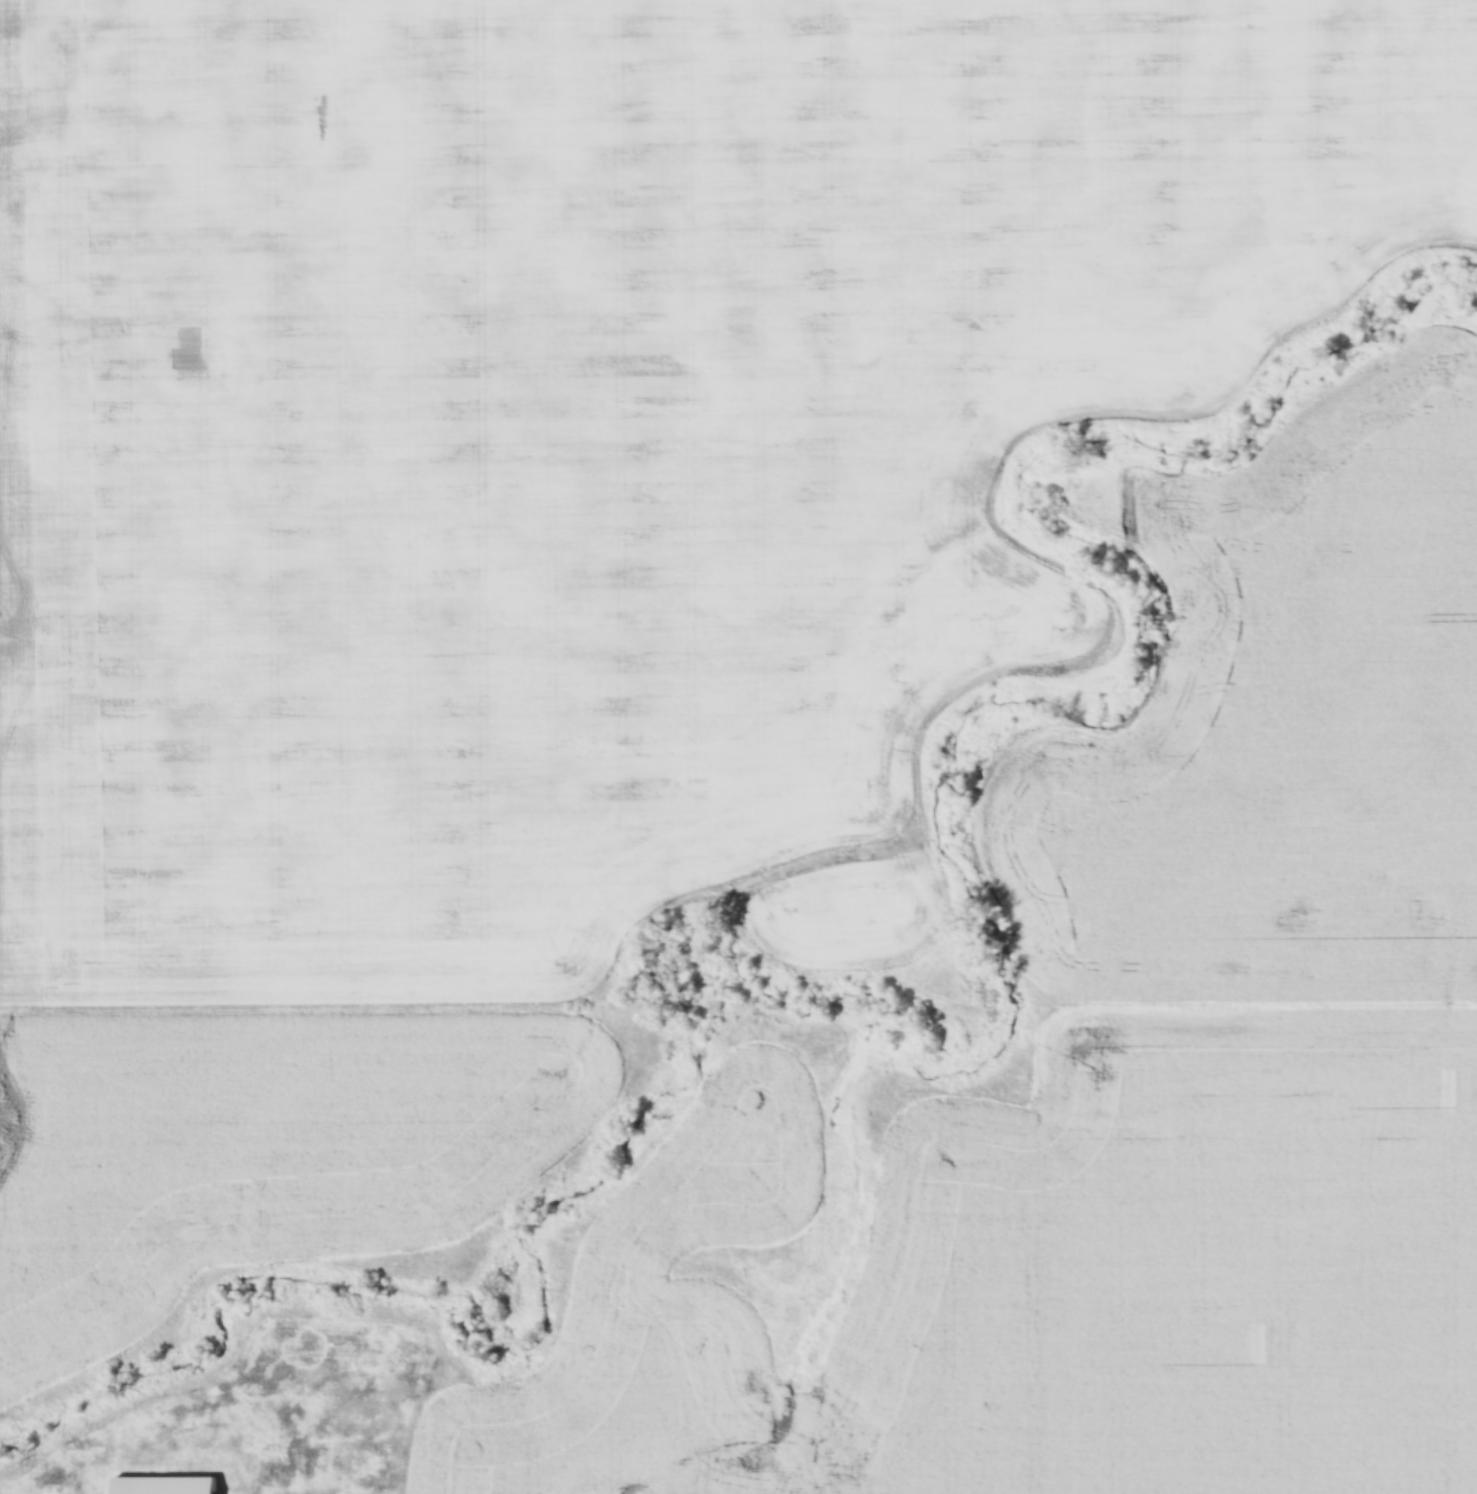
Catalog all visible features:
building: (165, 1486)

